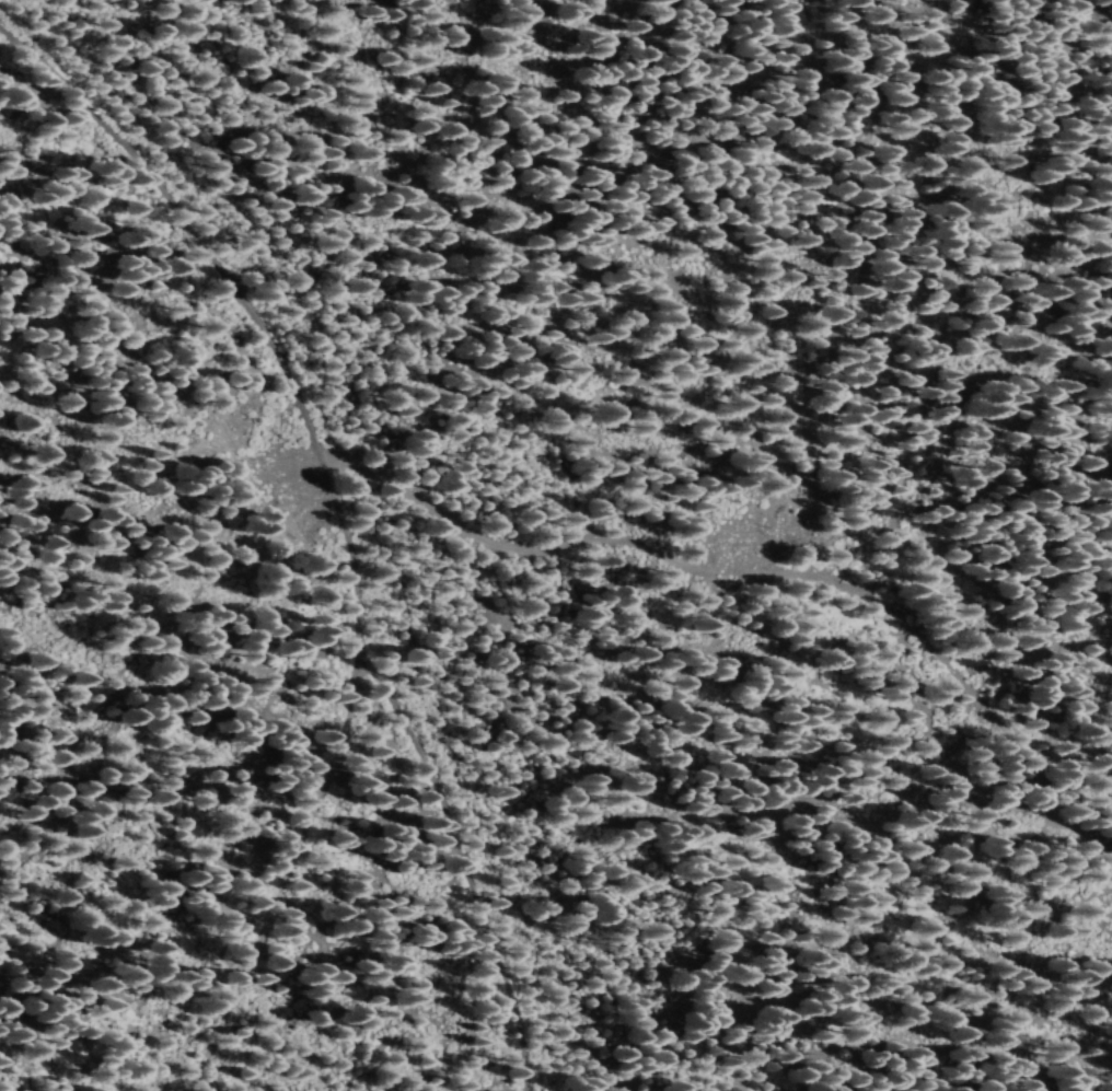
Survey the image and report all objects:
road: (290, 318)
road: (381, 727)

